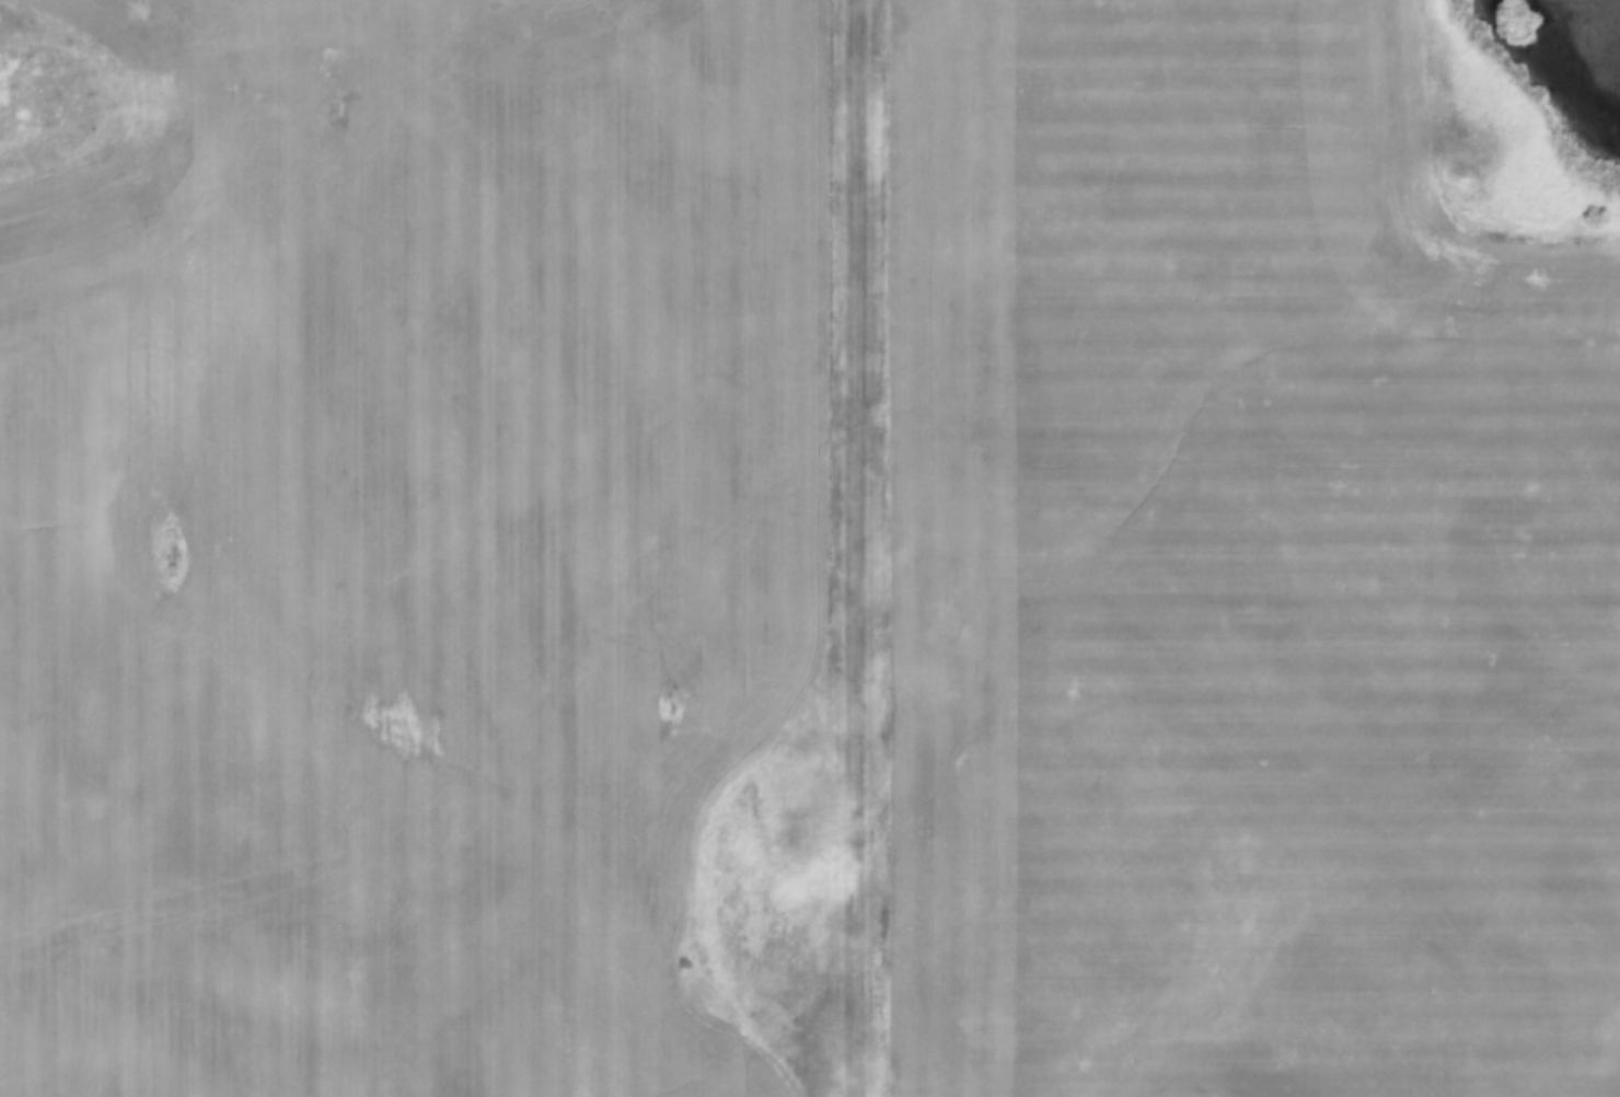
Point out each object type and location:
road: (856, 548)

